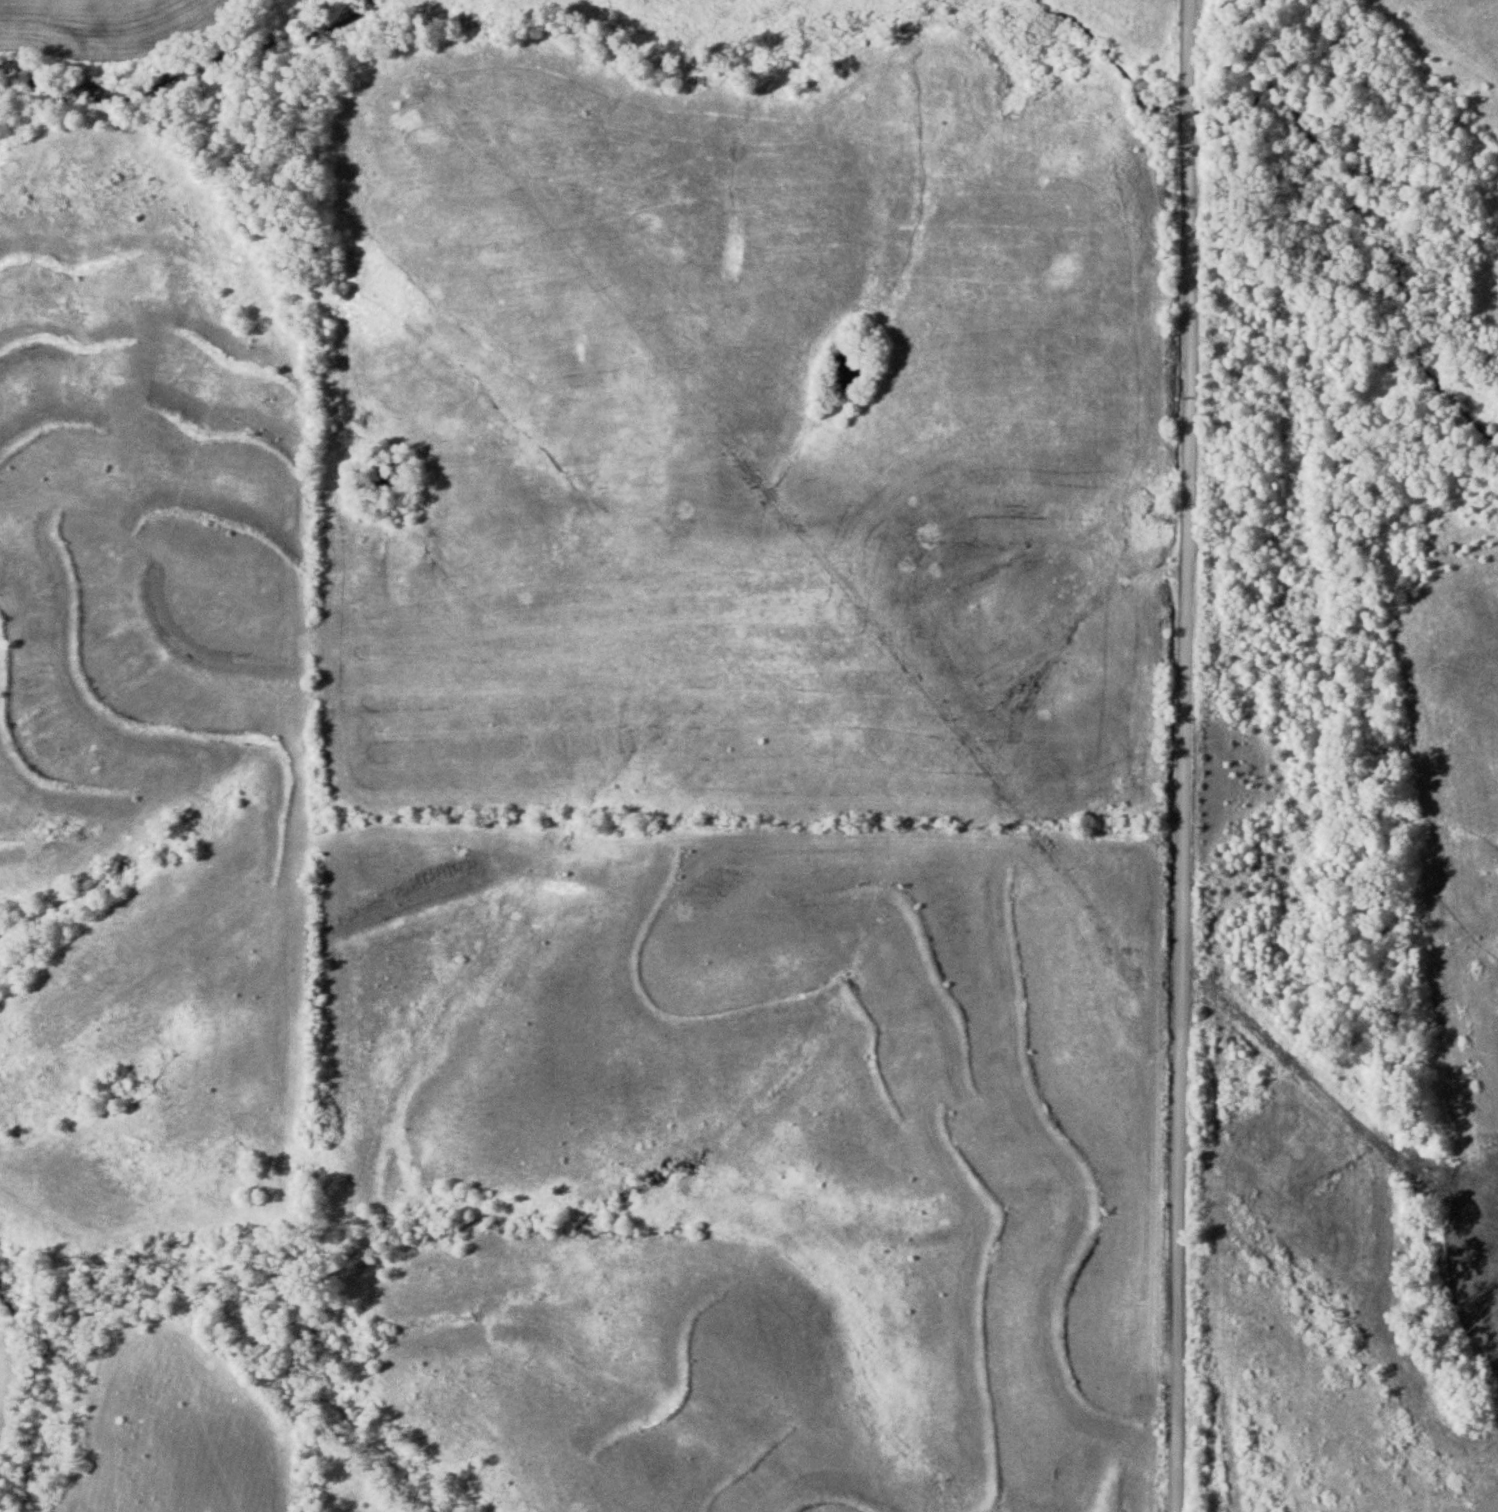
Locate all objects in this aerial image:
road: (1181, 756)

